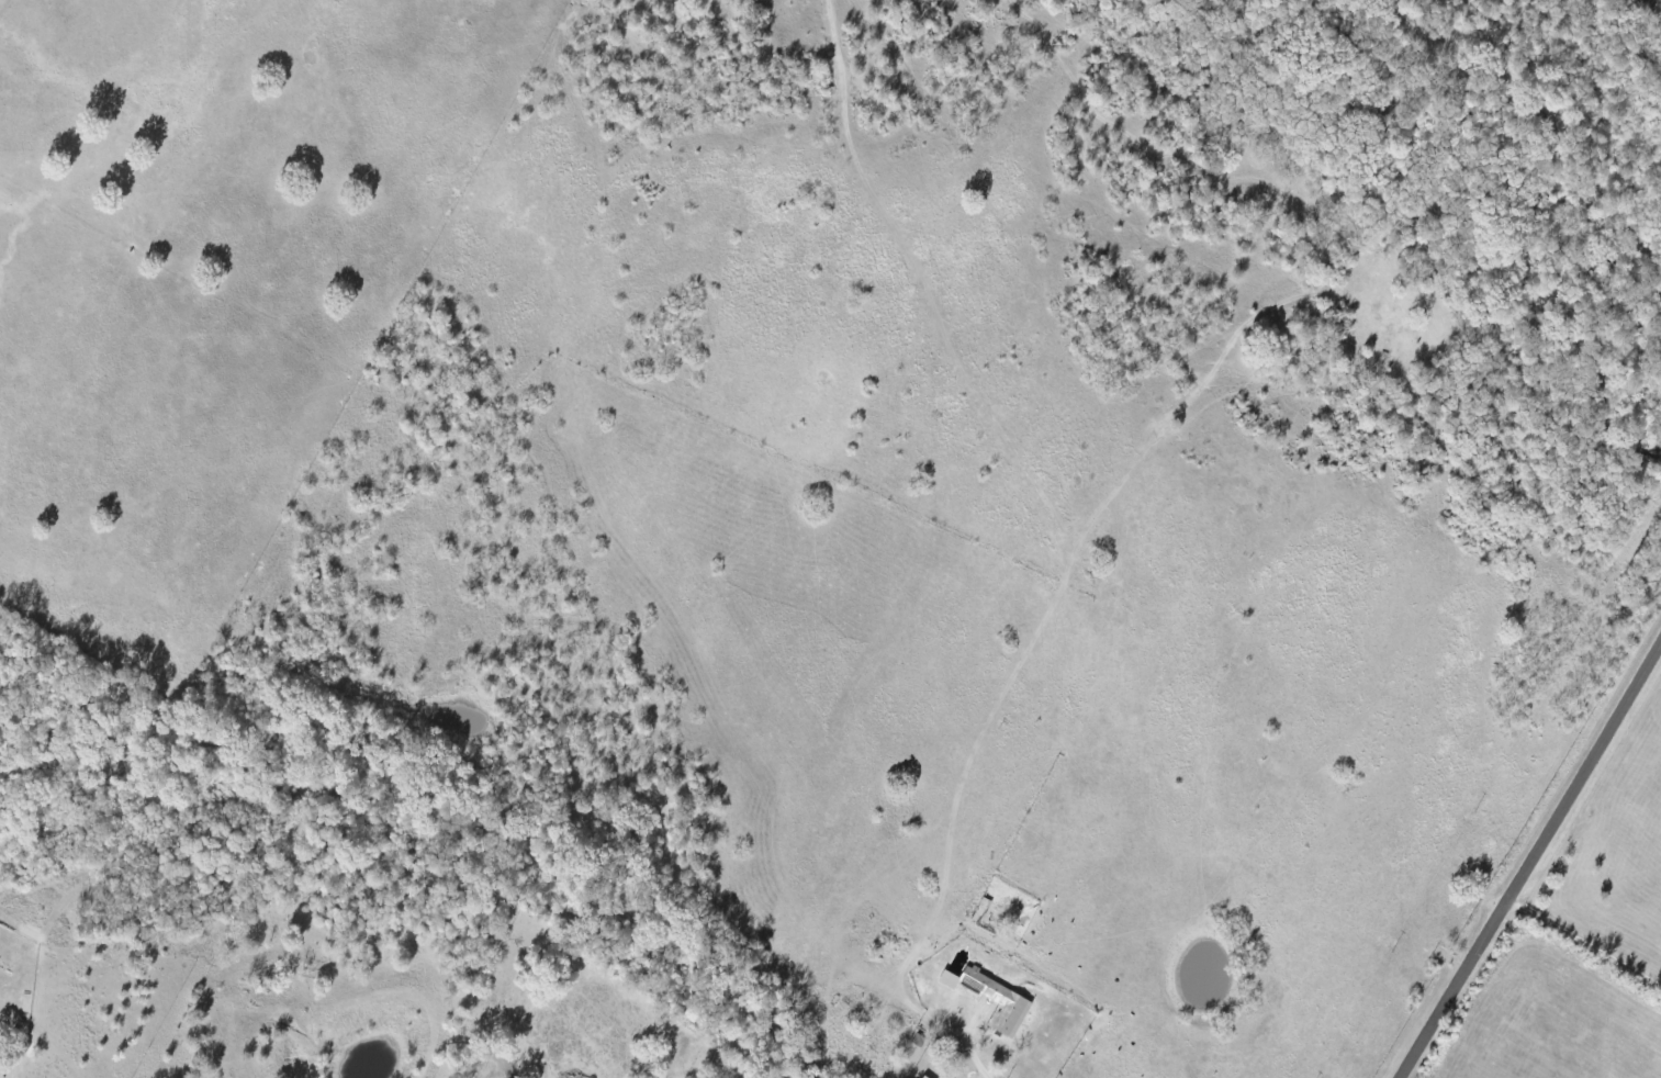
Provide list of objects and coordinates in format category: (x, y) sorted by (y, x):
road: (1533, 862)
road: (1586, 939)
building: (992, 998)
road: (972, 1066)
building: (924, 1077)

